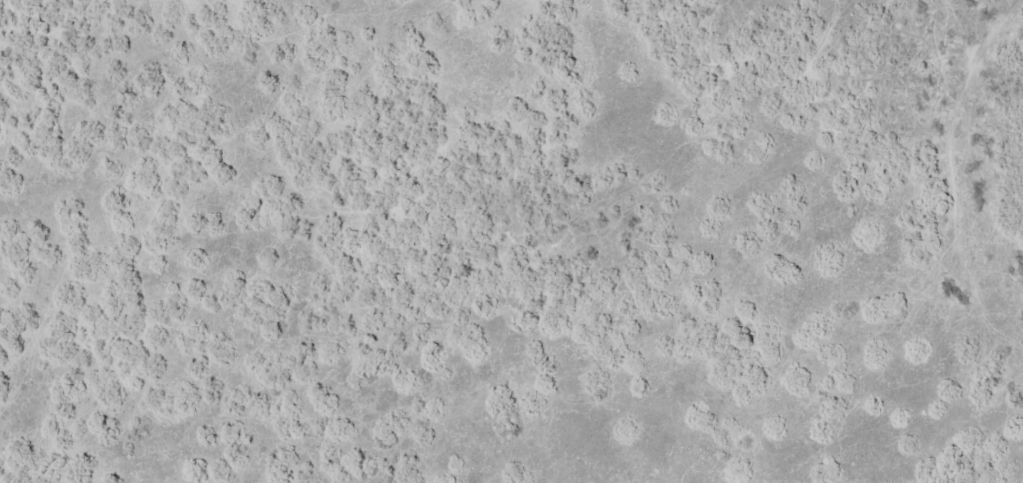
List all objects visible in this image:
road: (994, 169)

